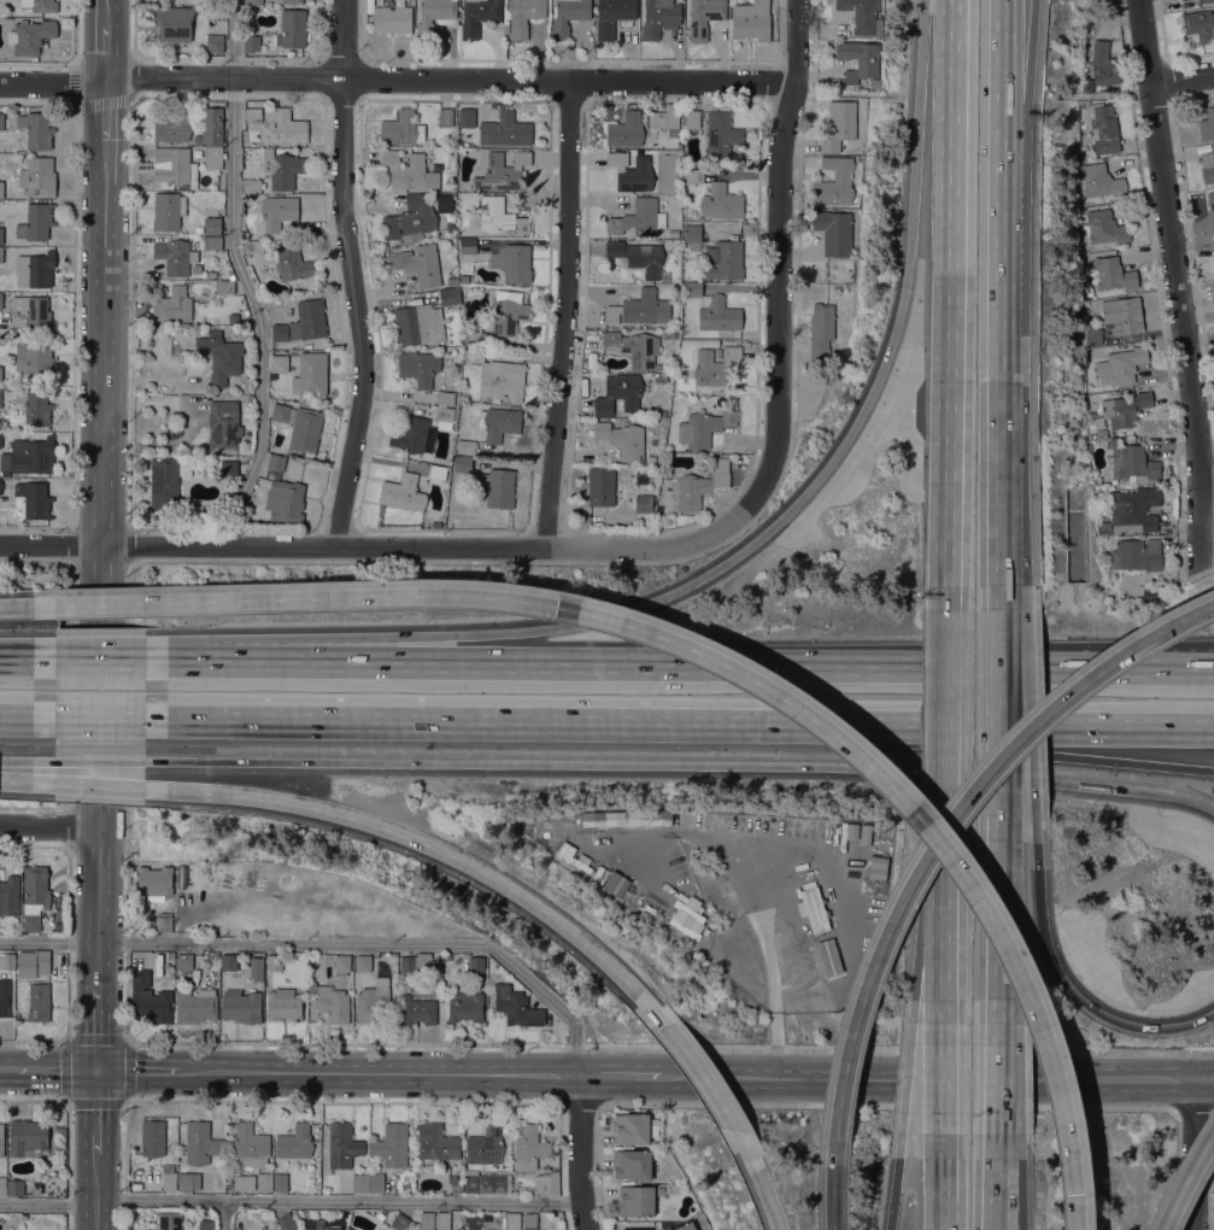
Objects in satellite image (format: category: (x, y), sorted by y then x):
building: (288, 1)
building: (1203, 1)
building: (253, 2)
building: (40, 5)
road: (106, 8)
building: (433, 16)
building: (477, 16)
building: (522, 16)
building: (567, 16)
building: (612, 16)
building: (863, 16)
building: (659, 17)
building: (704, 17)
building: (392, 19)
building: (750, 20)
building: (174, 23)
building: (1198, 24)
building: (292, 29)
building: (30, 36)
road: (230, 39)
building: (215, 43)
building: (251, 43)
road: (106, 47)
road: (1001, 51)
road: (1009, 51)
building: (860, 61)
building: (1103, 65)
road: (452, 78)
road: (1183, 78)
road: (53, 83)
road: (106, 107)
building: (252, 115)
building: (445, 117)
building: (467, 117)
building: (692, 118)
building: (1, 121)
building: (671, 122)
building: (211, 125)
building: (839, 125)
building: (1207, 125)
building: (172, 127)
building: (1102, 127)
building: (287, 128)
building: (36, 129)
building: (401, 129)
building: (505, 129)
road: (917, 129)
building: (626, 130)
building: (721, 134)
building: (1083, 153)
building: (212, 157)
building: (1207, 166)
building: (175, 168)
building: (283, 170)
building: (632, 170)
building: (409, 171)
building: (502, 171)
building: (39, 175)
building: (693, 175)
building: (1099, 181)
building: (834, 182)
building: (252, 184)
building: (1, 189)
building: (1210, 200)
building: (721, 201)
building: (168, 211)
building: (282, 215)
building: (411, 217)
building: (498, 217)
building: (638, 217)
building: (687, 217)
building: (36, 222)
building: (212, 225)
building: (1104, 228)
building: (198, 229)
building: (834, 232)
building: (673, 233)
building: (1, 235)
building: (692, 236)
building: (260, 238)
building: (212, 242)
building: (254, 246)
building: (468, 246)
building: (1, 254)
building: (175, 256)
building: (639, 256)
building: (1213, 257)
building: (725, 260)
building: (512, 262)
building: (293, 263)
building: (1213, 263)
building: (418, 264)
building: (35, 269)
road: (781, 269)
building: (211, 274)
building: (1112, 274)
road: (354, 276)
building: (463, 279)
building: (452, 282)
building: (224, 287)
road: (1177, 287)
building: (692, 289)
road: (949, 293)
building: (447, 297)
building: (1, 300)
building: (171, 305)
building: (640, 309)
building: (33, 312)
road: (257, 312)
road: (567, 315)
building: (719, 315)
building: (1121, 315)
building: (508, 316)
building: (233, 317)
building: (303, 322)
building: (418, 324)
building: (821, 333)
building: (1091, 333)
building: (667, 335)
building: (476, 338)
building: (698, 341)
road: (999, 342)
building: (634, 347)
building: (717, 353)
building: (221, 357)
building: (37, 359)
building: (280, 363)
building: (715, 365)
building: (418, 367)
building: (665, 367)
building: (1119, 367)
building: (0, 374)
building: (311, 374)
building: (497, 376)
road: (102, 381)
building: (0, 393)
building: (620, 393)
building: (445, 398)
building: (34, 405)
building: (1125, 409)
building: (280, 412)
building: (444, 414)
building: (498, 423)
building: (223, 426)
building: (703, 427)
building: (305, 429)
building: (1101, 433)
building: (415, 435)
building: (0, 439)
building: (622, 439)
building: (464, 446)
building: (28, 456)
building: (276, 462)
building: (1131, 462)
building: (462, 464)
building: (229, 469)
building: (298, 470)
building: (438, 471)
building: (1096, 479)
building: (165, 482)
building: (700, 485)
building: (497, 486)
building: (600, 486)
road: (1208, 491)
building: (403, 492)
building: (34, 498)
building: (285, 500)
building: (643, 503)
road: (792, 506)
building: (658, 509)
building: (1133, 509)
building: (1104, 527)
road: (368, 549)
building: (1136, 555)
building: (1155, 592)
road: (295, 597)
road: (16, 605)
road: (999, 634)
road: (391, 644)
road: (117, 660)
road: (1132, 660)
road: (723, 664)
road: (946, 710)
road: (386, 720)
road: (992, 725)
road: (992, 750)
road: (999, 761)
road: (1028, 761)
road: (767, 765)
road: (158, 767)
road: (915, 813)
road: (348, 818)
building: (627, 818)
road: (49, 825)
building: (851, 831)
road: (944, 832)
building: (864, 833)
building: (573, 857)
road: (746, 866)
building: (878, 867)
building: (599, 874)
building: (154, 880)
building: (616, 883)
building: (35, 885)
building: (8, 896)
road: (99, 896)
road: (945, 900)
building: (813, 909)
building: (687, 916)
building: (31, 921)
building: (164, 924)
building: (705, 931)
road: (329, 944)
building: (212, 954)
building: (447, 956)
building: (826, 956)
building: (41, 959)
building: (7, 960)
building: (183, 962)
building: (228, 962)
building: (274, 962)
building: (363, 962)
building: (415, 962)
building: (341, 963)
building: (476, 963)
building: (254, 968)
road: (997, 988)
road: (1072, 991)
building: (4, 995)
building: (148, 998)
building: (373, 1000)
building: (39, 1002)
building: (329, 1002)
building: (194, 1004)
building: (282, 1004)
building: (240, 1006)
building: (465, 1006)
building: (518, 1009)
building: (416, 1011)
road: (98, 1029)
road: (7, 1070)
road: (55, 1070)
traffic signals: (98, 1070)
road: (139, 1071)
road: (379, 1074)
road: (700, 1074)
road: (620, 1077)
road: (920, 1077)
road: (779, 1078)
road: (1122, 1078)
road: (945, 1082)
road: (98, 1111)
building: (653, 1127)
building: (631, 1129)
building: (27, 1136)
building: (1, 1138)
building: (152, 1138)
road: (577, 1138)
building: (294, 1142)
building: (436, 1142)
building: (199, 1143)
building: (342, 1144)
building: (391, 1144)
building: (250, 1146)
building: (528, 1147)
road: (1195, 1153)
building: (485, 1161)
building: (632, 1164)
building: (546, 1171)
building: (168, 1177)
road: (1184, 1177)
building: (188, 1181)
building: (264, 1182)
building: (280, 1182)
building: (359, 1182)
building: (244, 1183)
building: (375, 1183)
building: (454, 1183)
building: (547, 1183)
road: (995, 1183)
building: (2, 1185)
building: (523, 1187)
building: (675, 1187)
building: (14, 1188)
road: (96, 1190)
building: (658, 1190)
road: (764, 1193)
road: (833, 1199)
road: (336, 1201)
building: (635, 1201)
road: (48, 1205)
road: (892, 1209)
road: (1204, 1209)
road: (1074, 1212)
road: (944, 1214)
road: (225, 1216)
building: (380, 1216)
road: (581, 1216)
building: (169, 1220)
building: (426, 1220)
building: (442, 1220)
building: (511, 1220)
building: (287, 1222)
building: (399, 1222)
building: (529, 1222)
building: (204, 1224)
building: (316, 1225)
building: (686, 1226)
building: (263, 1228)
building: (347, 1228)
building: (475, 1228)
building: (639, 1229)

